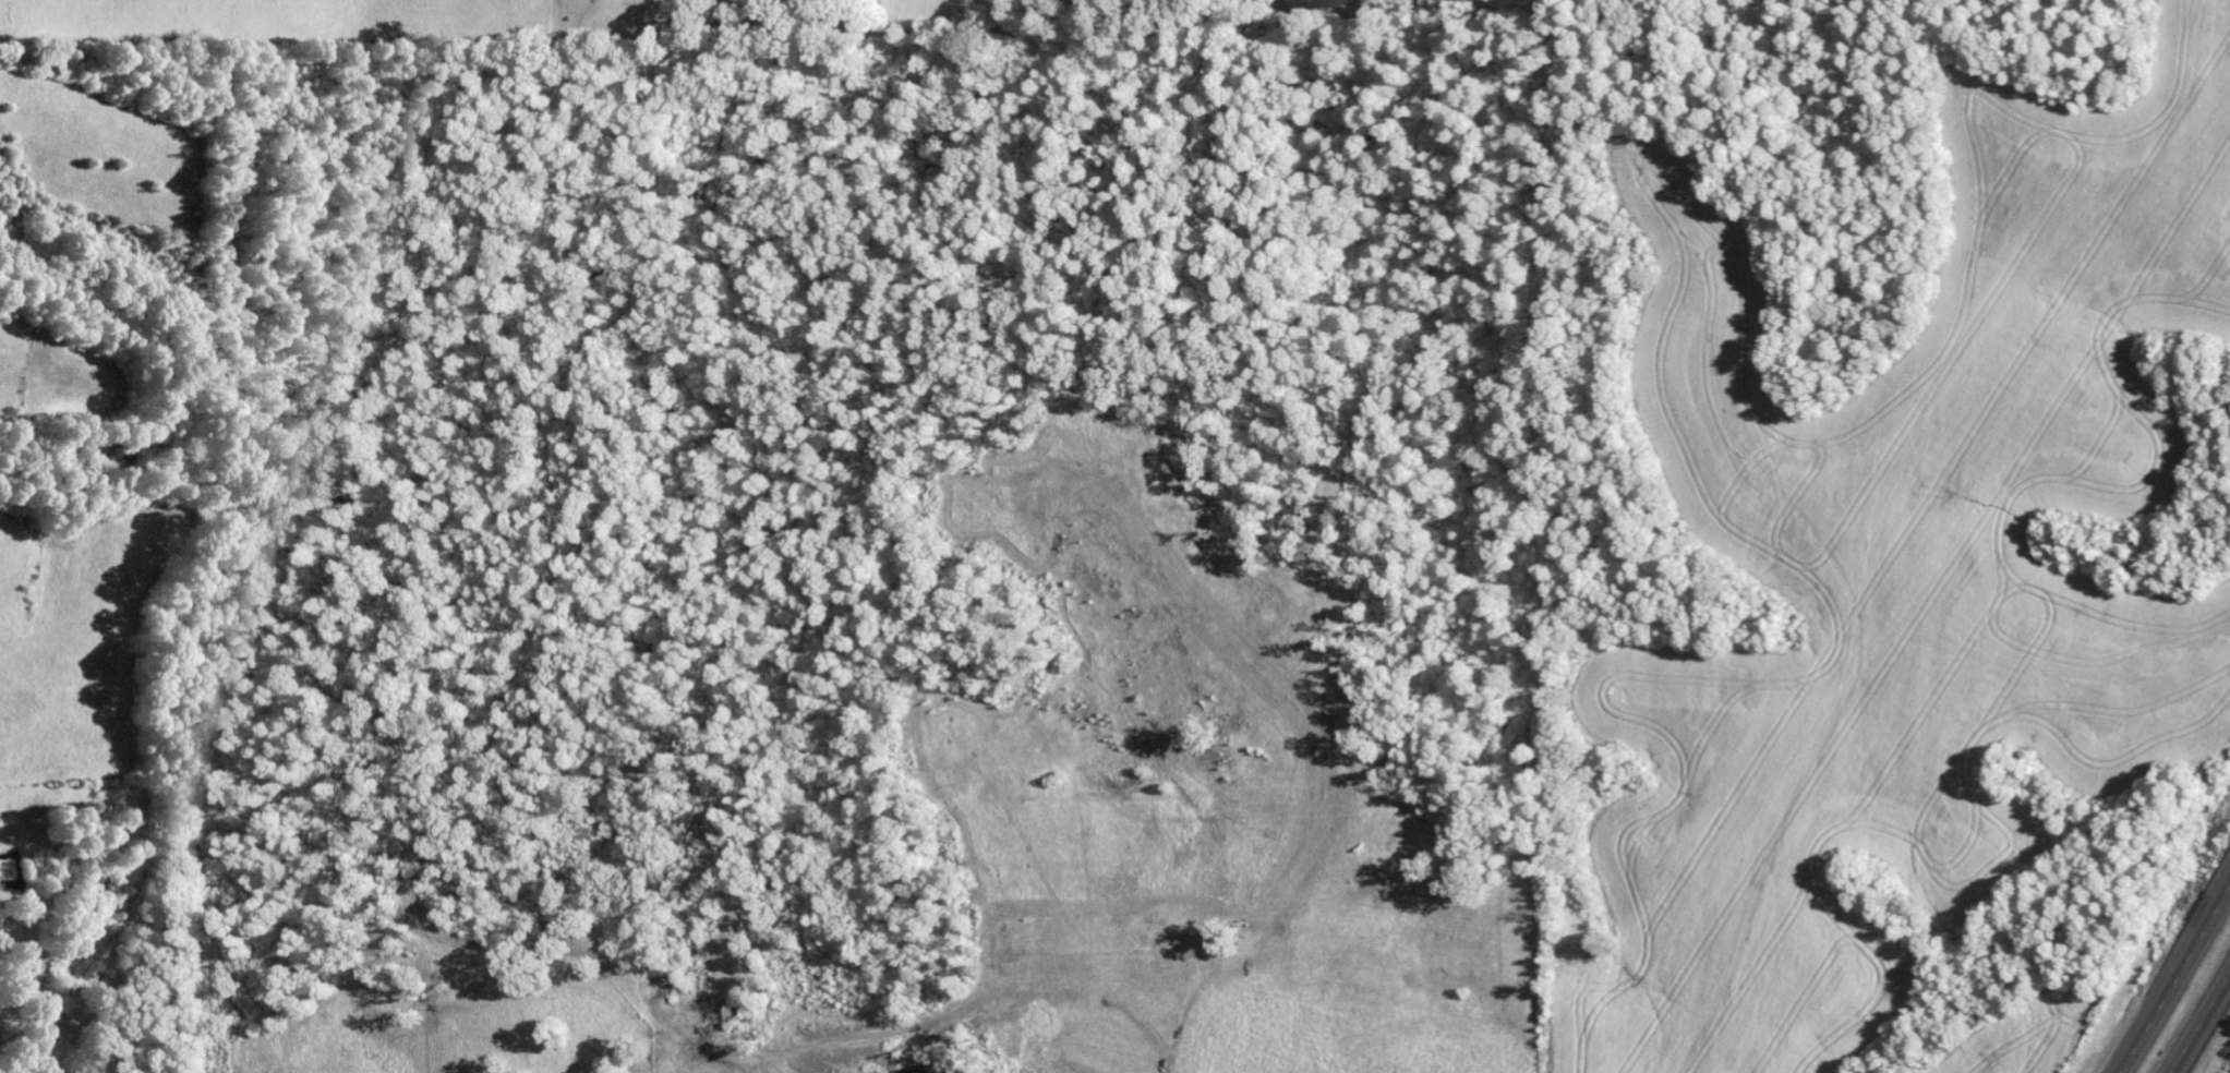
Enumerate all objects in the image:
road: (2174, 981)
road: (2199, 1023)

